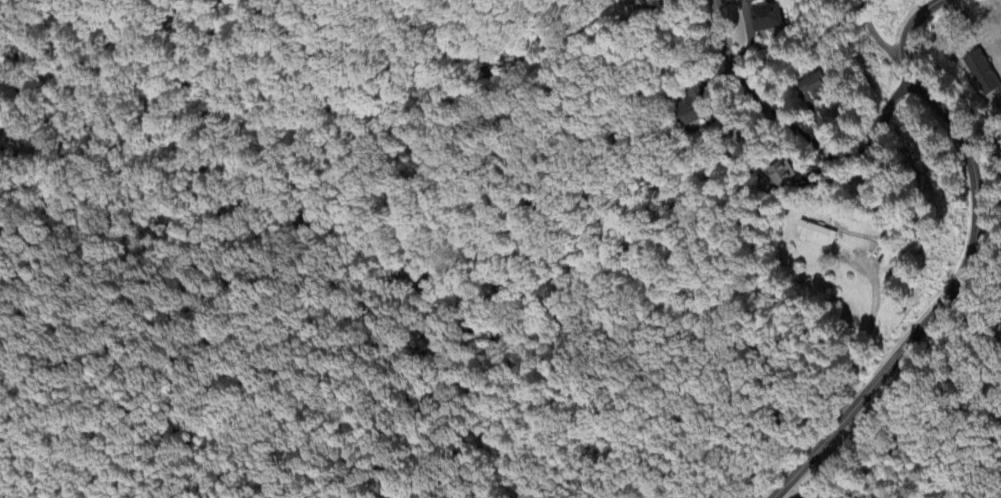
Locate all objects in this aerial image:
building: (766, 19)
road: (874, 38)
building: (979, 74)
road: (797, 128)
building: (814, 237)
road: (969, 255)
road: (866, 339)

